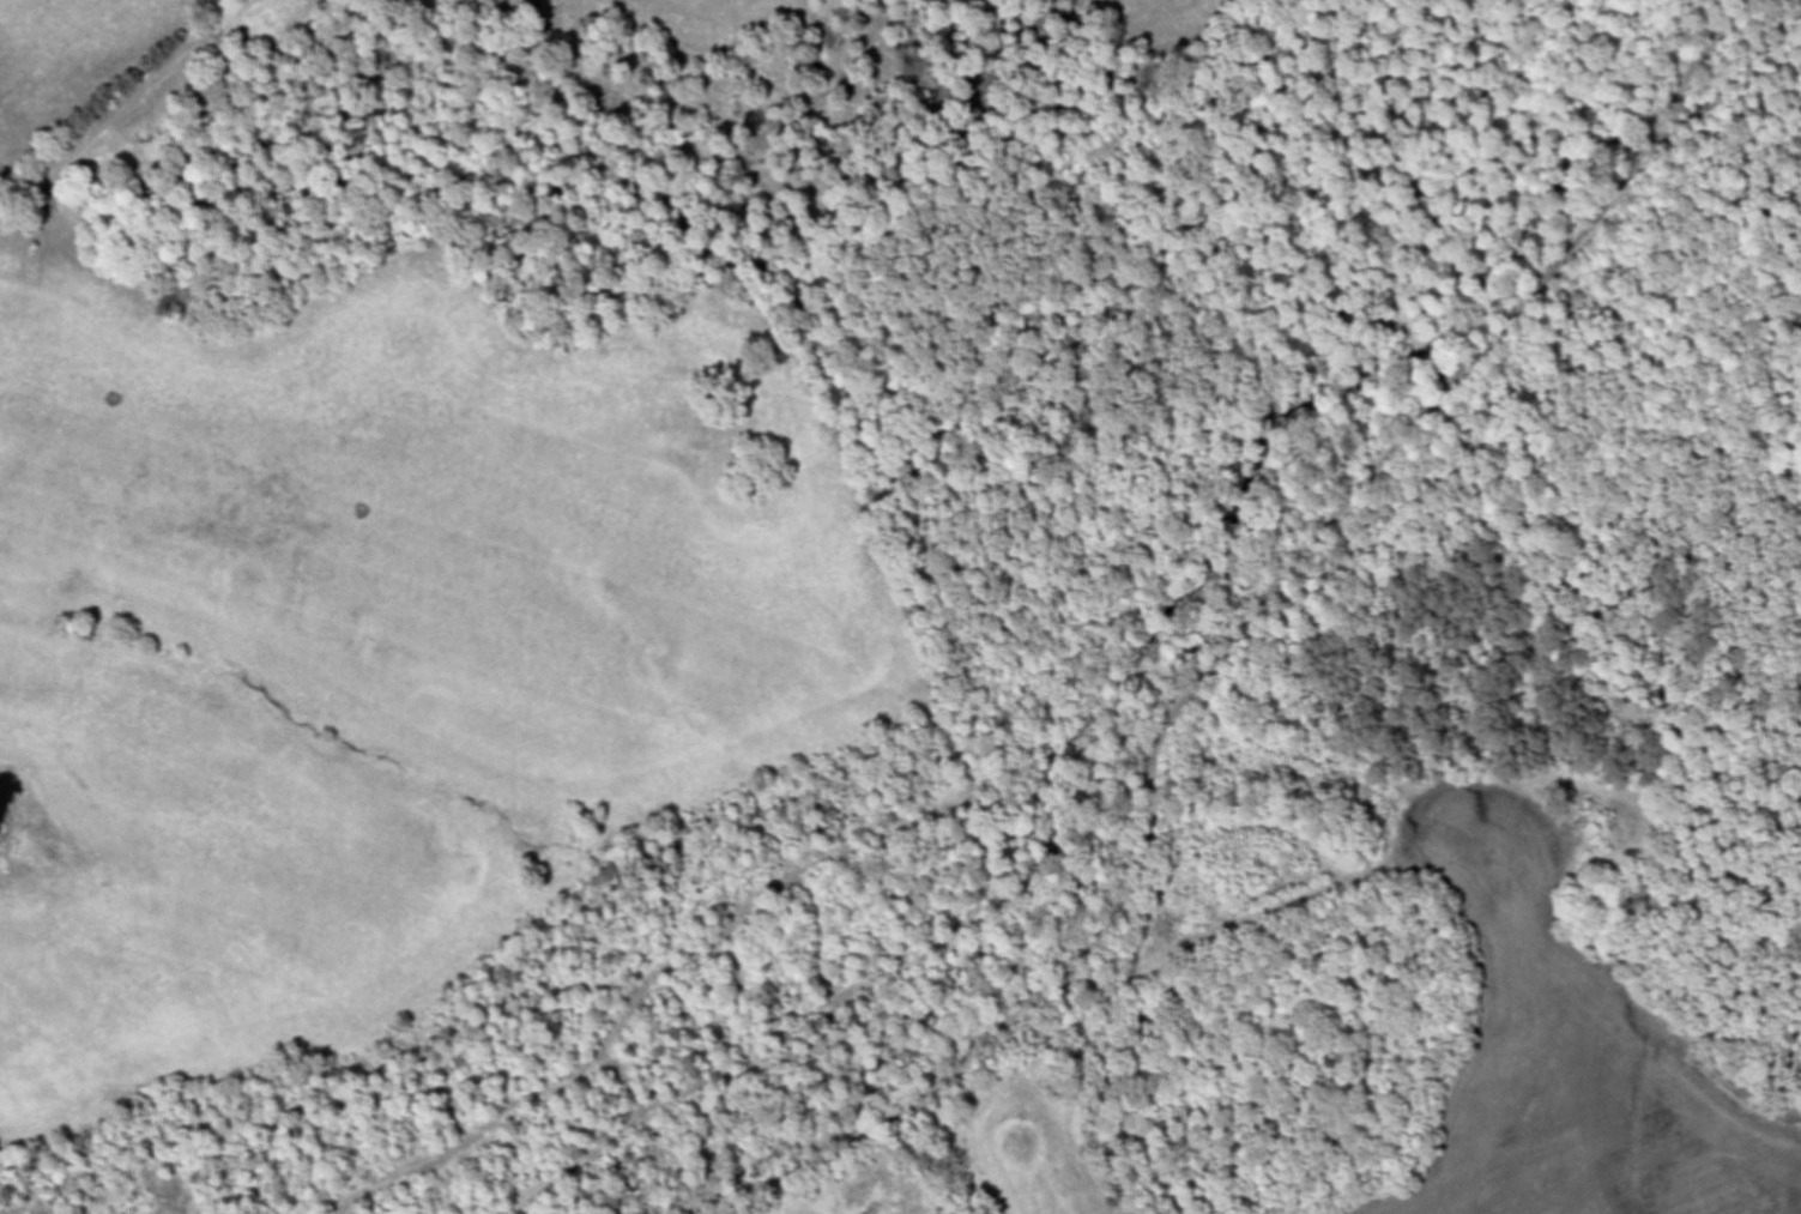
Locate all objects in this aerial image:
road: (1687, 84)
road: (1101, 925)

